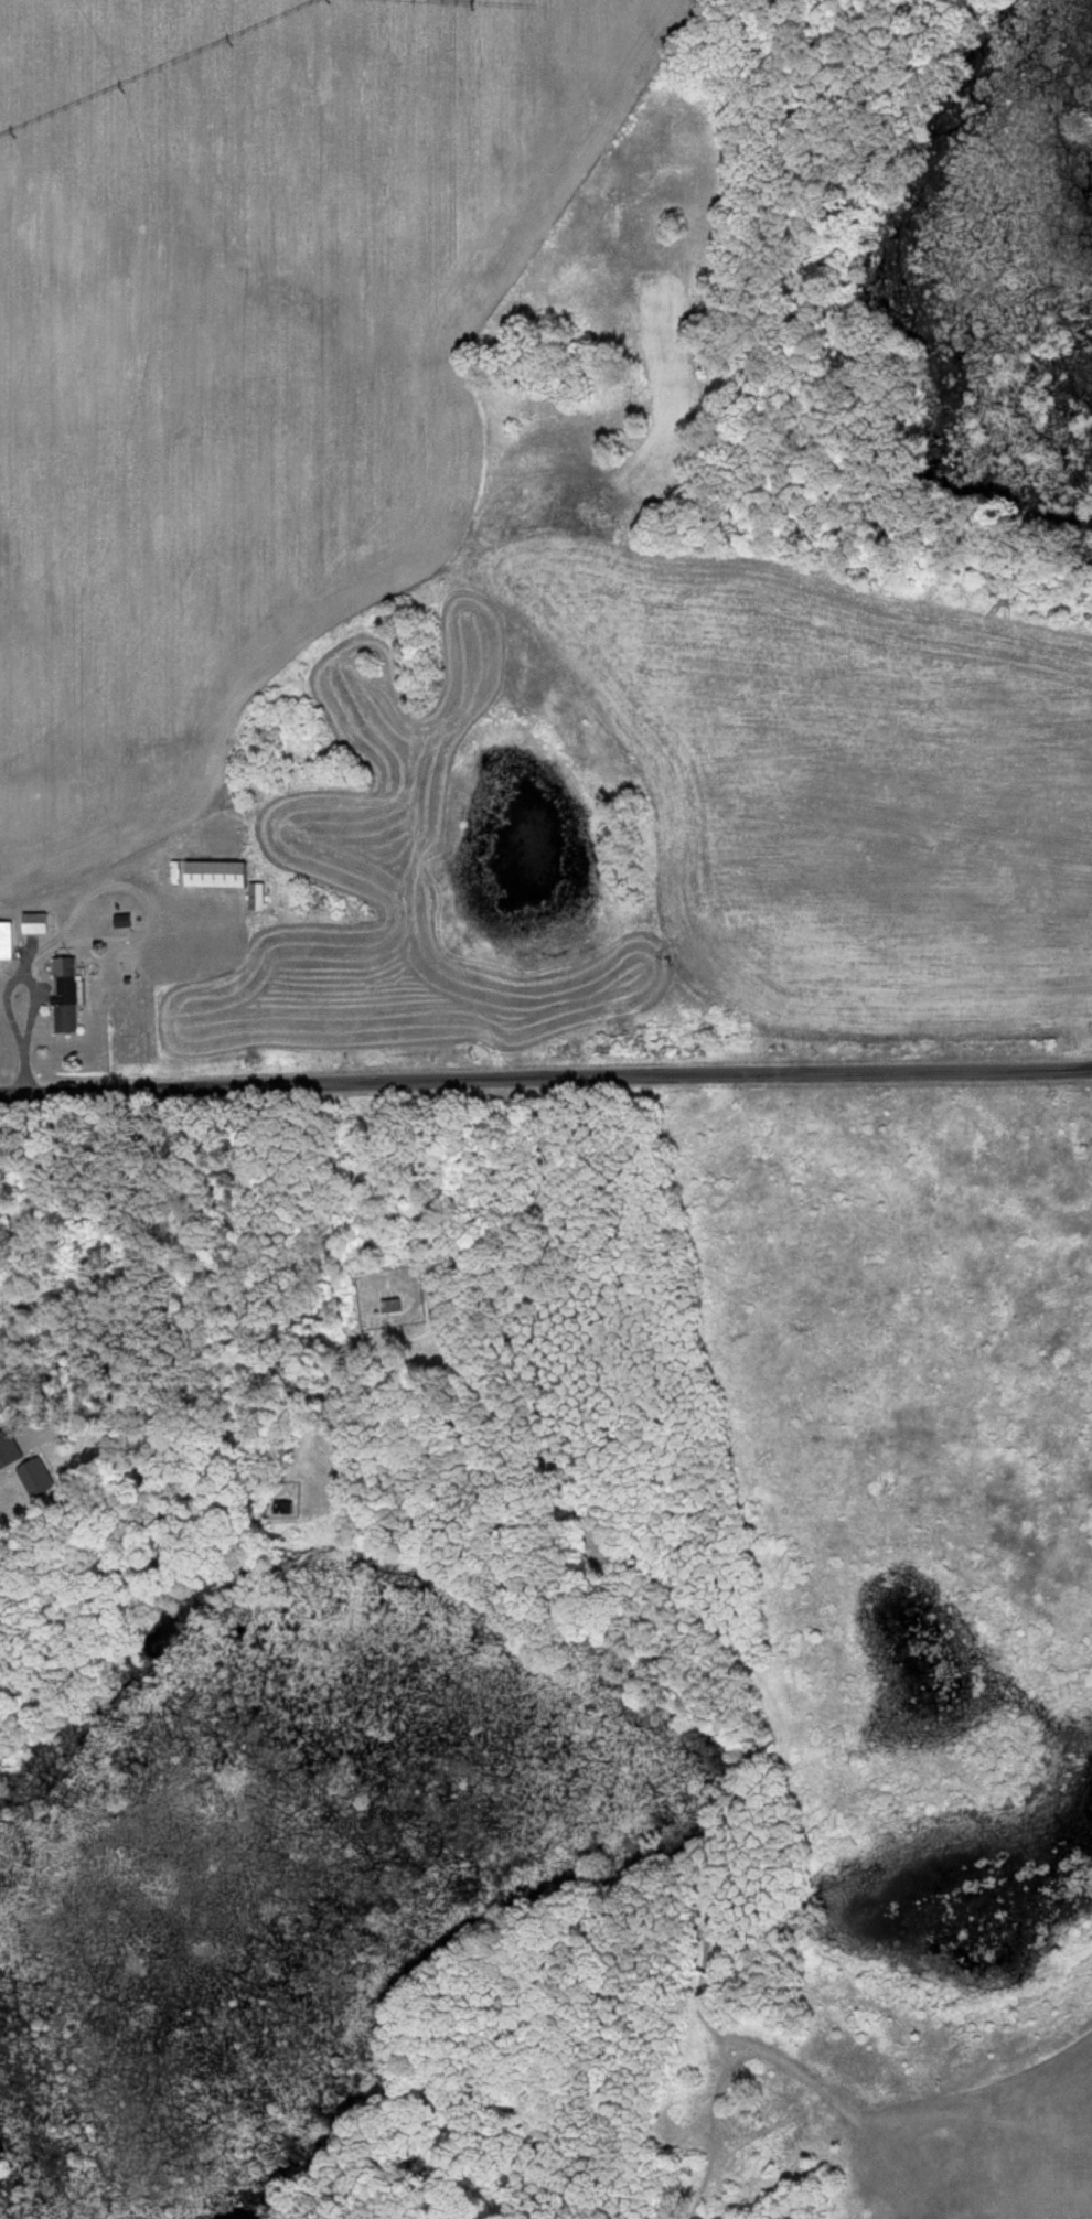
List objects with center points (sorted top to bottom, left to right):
building: (231, 881)
building: (40, 924)
building: (9, 941)
road: (7, 994)
building: (69, 996)
road: (545, 1082)
building: (395, 1306)
road: (32, 1364)
building: (288, 1509)

